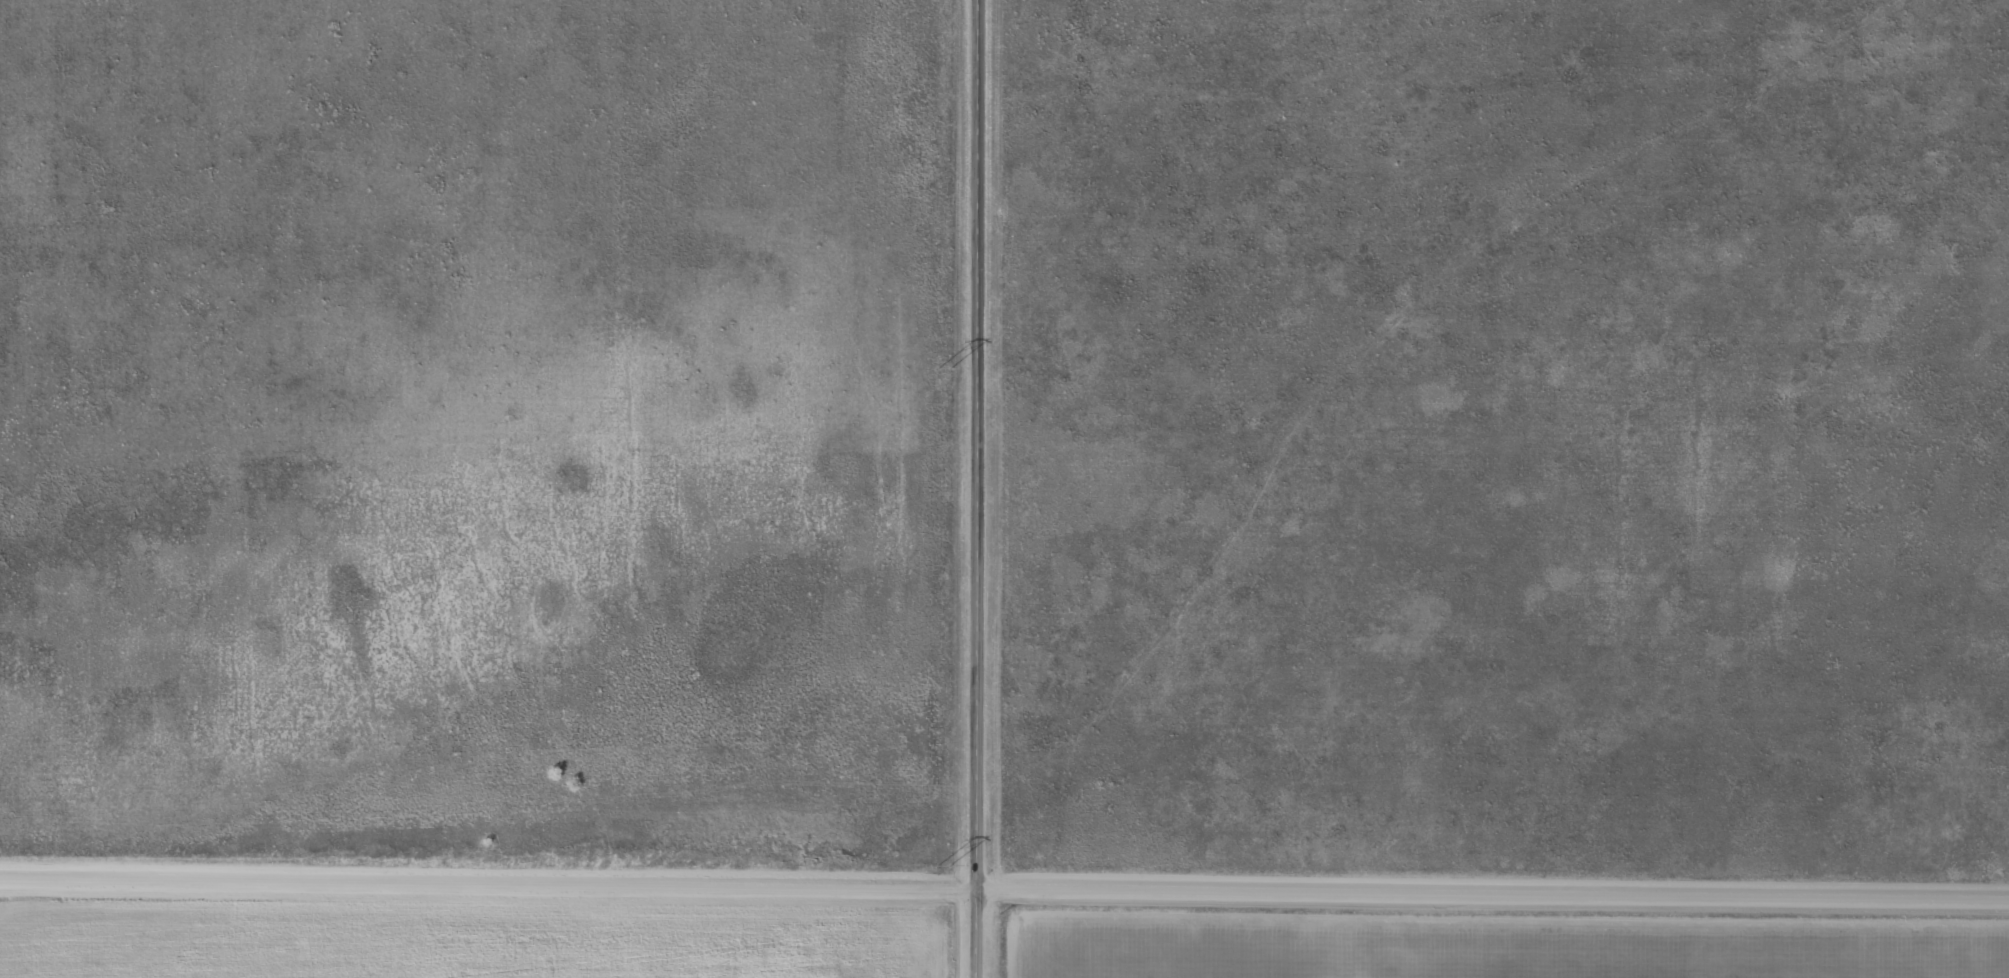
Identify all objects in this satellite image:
power tower: (939, 367)
road: (972, 488)
power tower: (940, 866)
road: (1004, 882)

